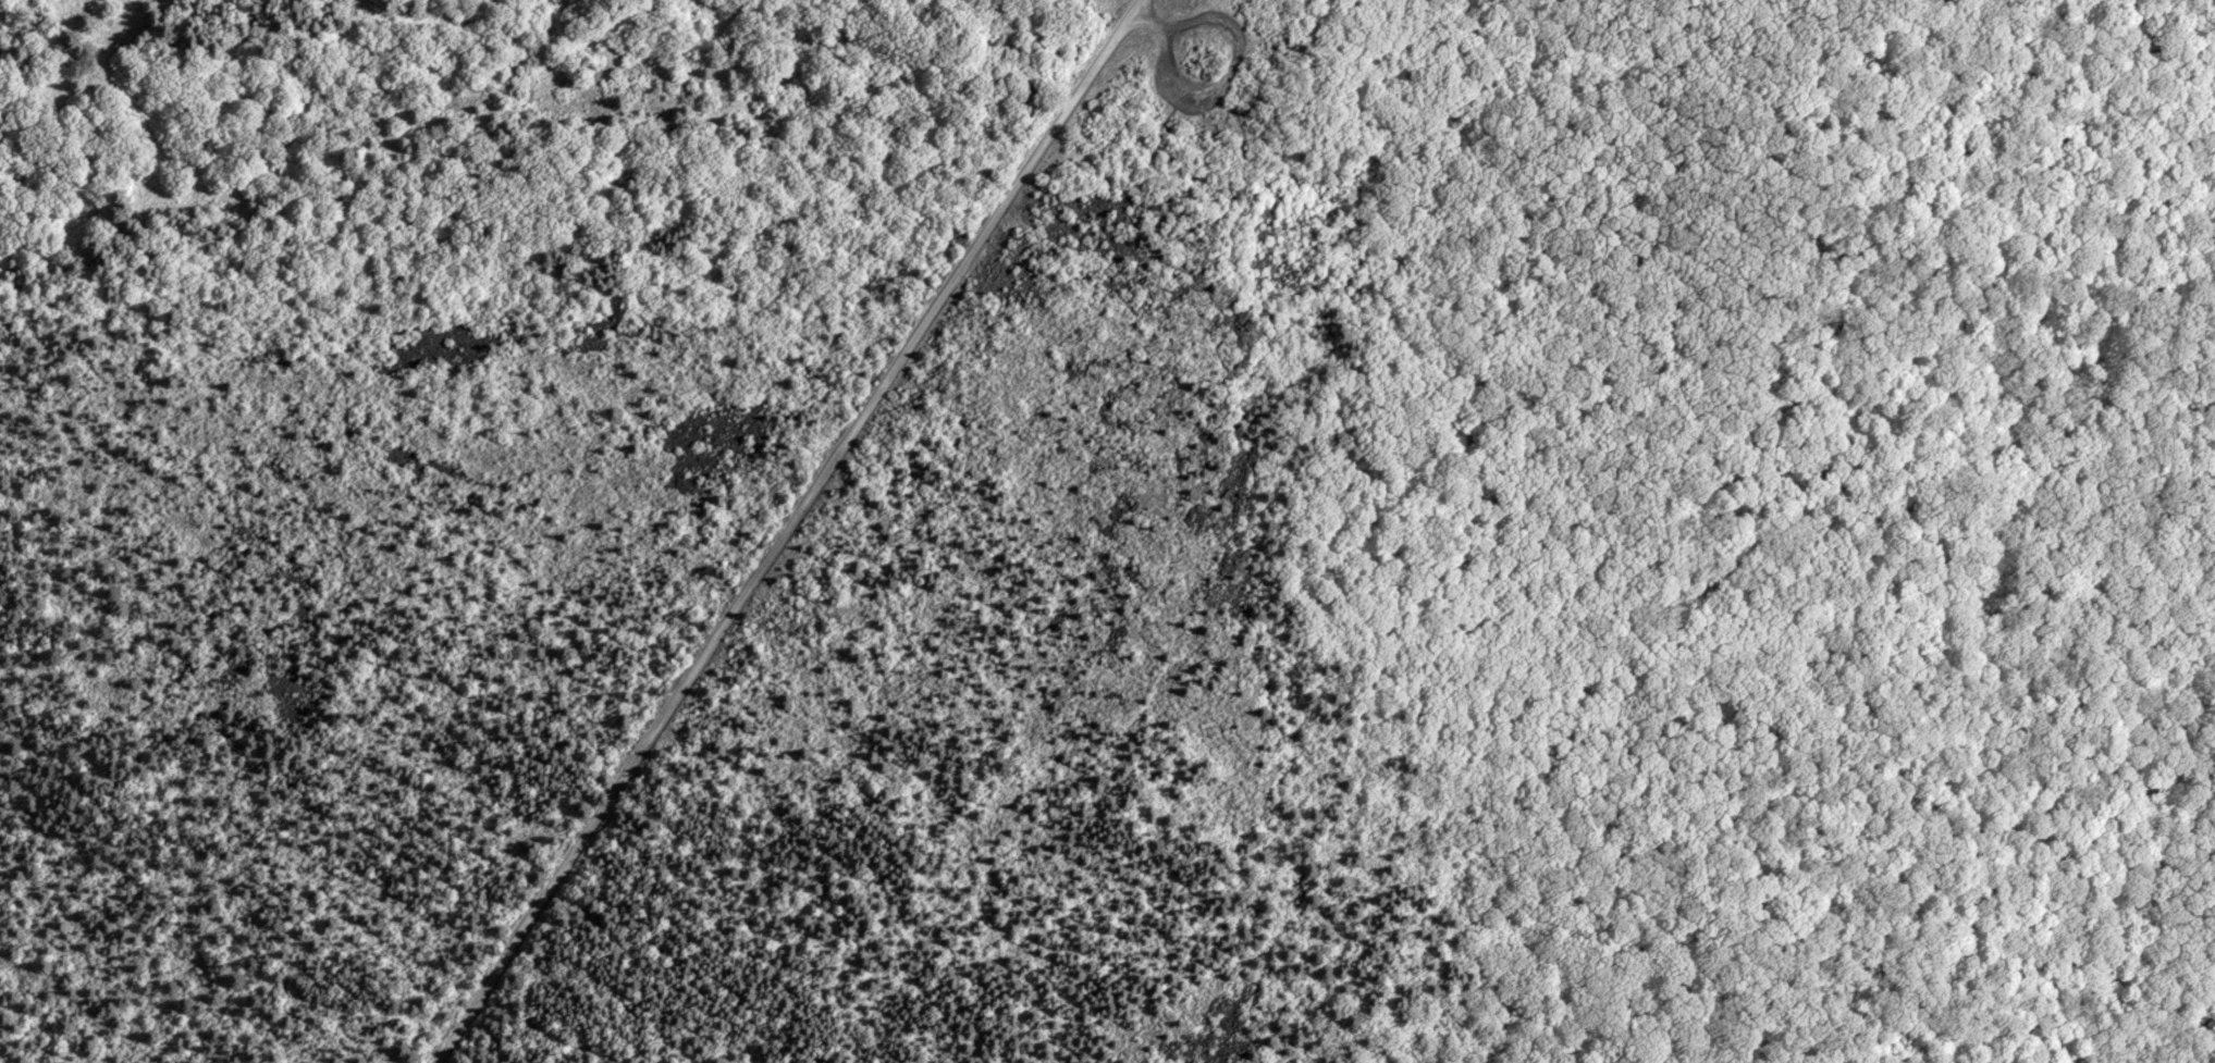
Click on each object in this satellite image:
road: (1225, 78)
parking lot: (1191, 85)
road: (788, 531)

